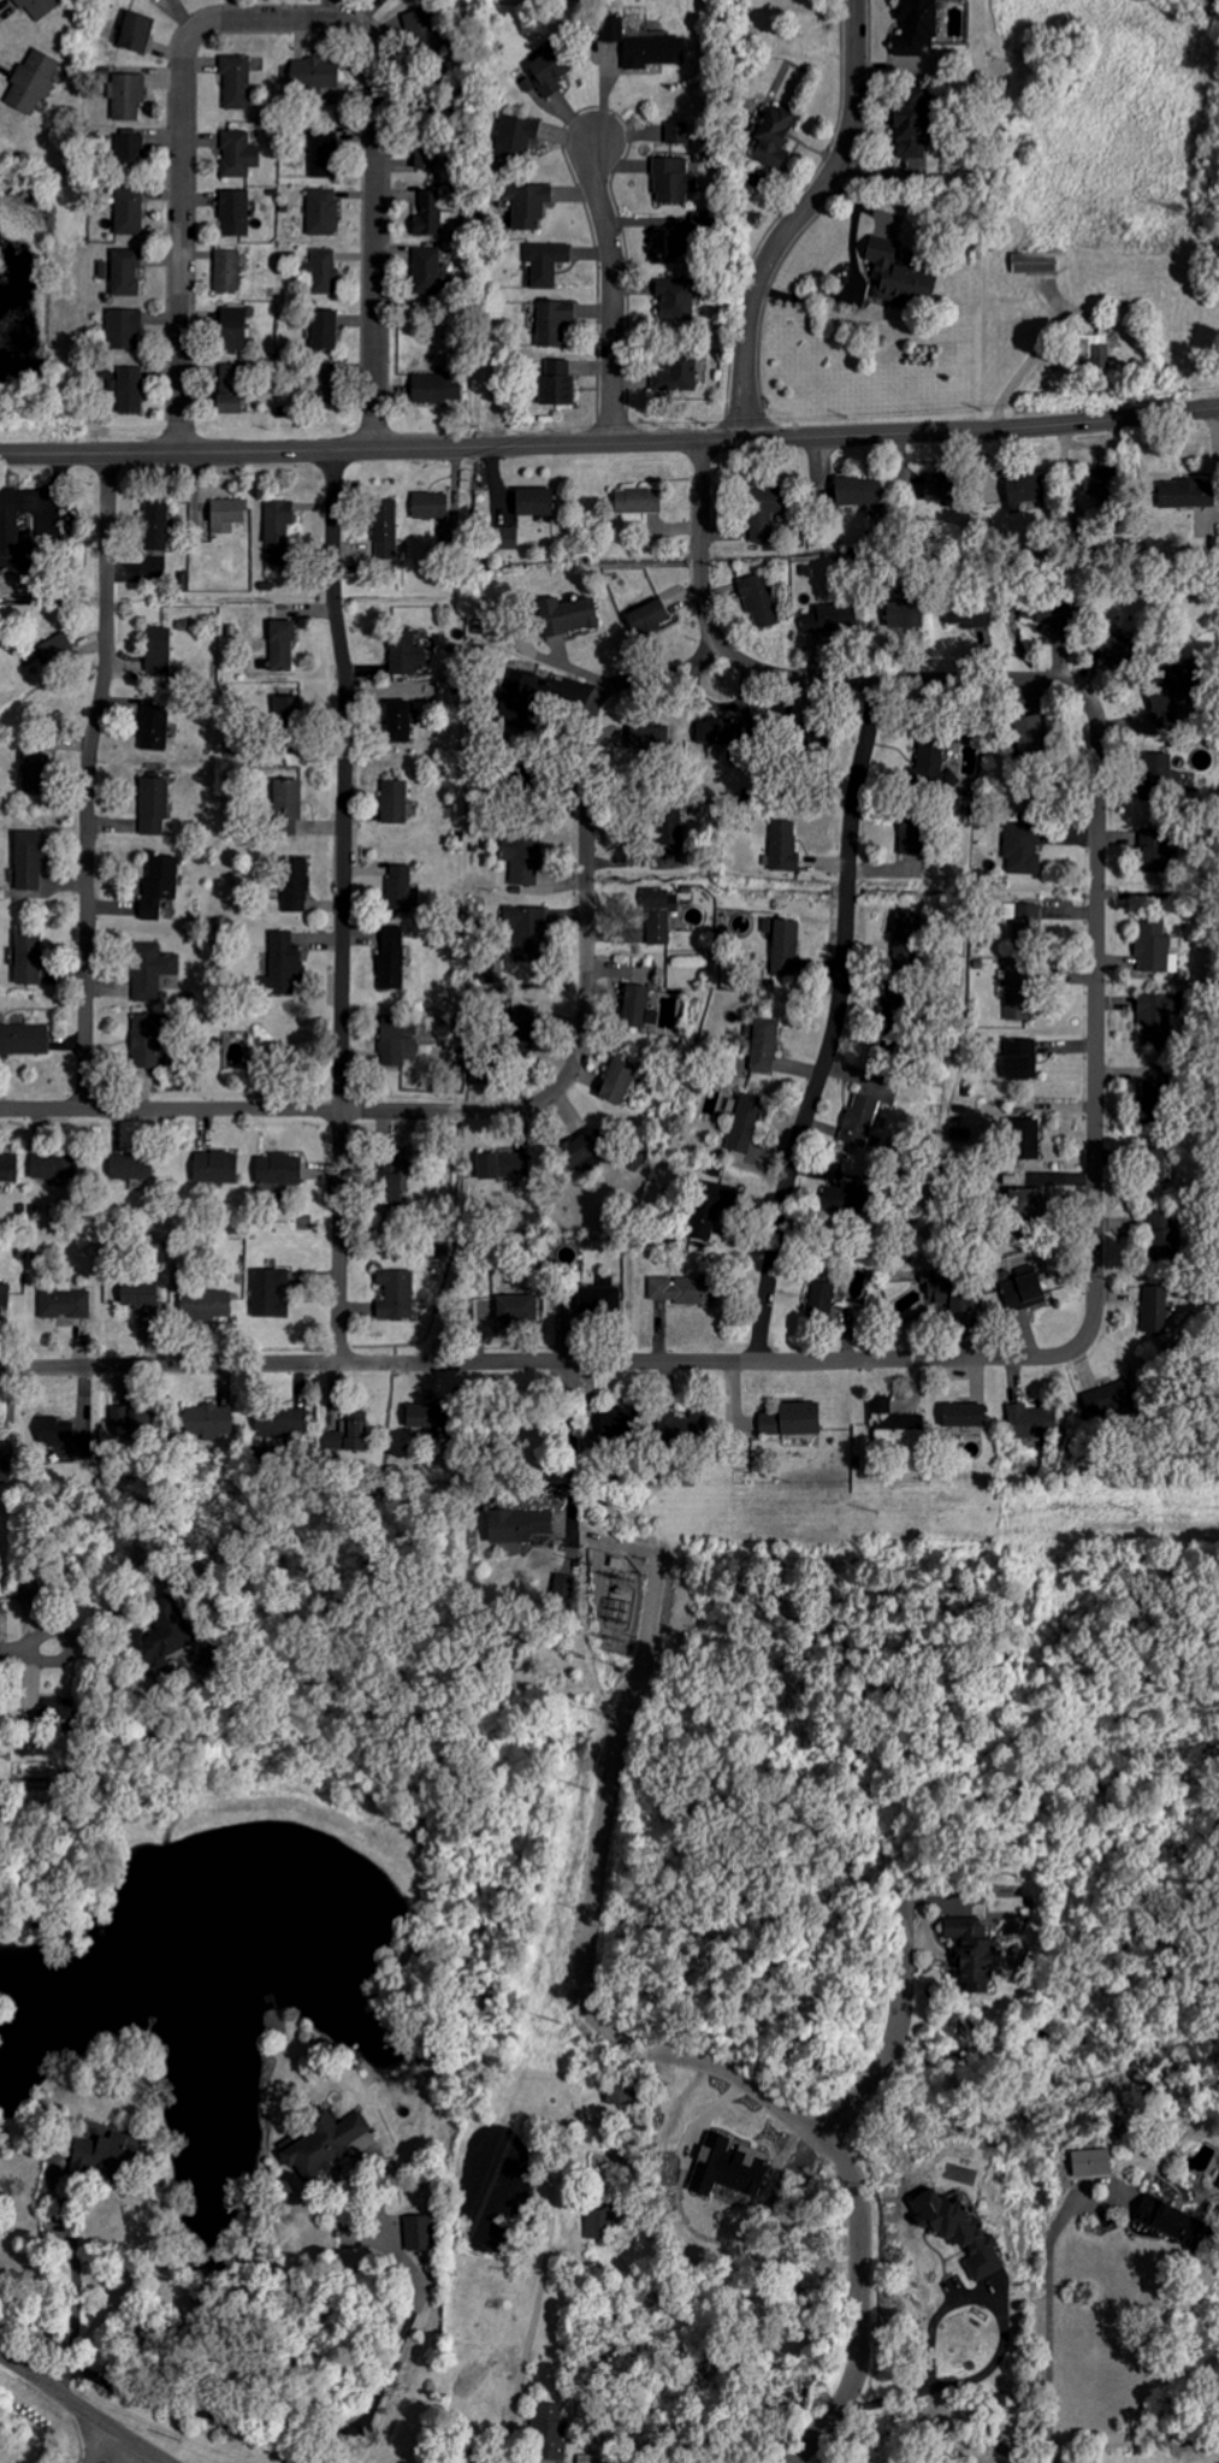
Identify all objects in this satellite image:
building: (39, 7)
building: (915, 26)
building: (614, 29)
building: (136, 31)
building: (651, 52)
building: (315, 72)
building: (548, 73)
building: (236, 82)
building: (32, 83)
building: (129, 95)
building: (909, 120)
building: (676, 132)
building: (773, 135)
building: (515, 136)
building: (129, 149)
building: (324, 153)
building: (238, 154)
building: (421, 158)
road: (835, 164)
building: (673, 179)
road: (374, 194)
road: (184, 199)
building: (527, 203)
building: (128, 211)
building: (322, 212)
building: (235, 213)
building: (431, 214)
building: (667, 244)
building: (545, 262)
building: (1036, 262)
building: (229, 270)
building: (322, 271)
building: (428, 271)
building: (125, 272)
building: (895, 272)
road: (611, 280)
building: (674, 299)
building: (554, 321)
building: (232, 326)
building: (124, 329)
building: (324, 330)
building: (1091, 350)
building: (679, 372)
road: (746, 374)
building: (557, 383)
building: (436, 388)
building: (128, 389)
building: (321, 389)
building: (230, 390)
road: (609, 443)
building: (934, 489)
building: (1023, 490)
building: (854, 491)
building: (1185, 494)
building: (532, 501)
building: (637, 501)
building: (431, 504)
building: (762, 510)
building: (226, 515)
building: (155, 525)
building: (8, 528)
building: (278, 530)
building: (385, 530)
building: (507, 537)
road: (703, 541)
building: (759, 599)
building: (1042, 613)
building: (567, 615)
building: (649, 616)
building: (966, 616)
building: (815, 630)
building: (280, 645)
building: (59, 646)
building: (158, 649)
building: (1117, 649)
building: (406, 654)
building: (519, 689)
building: (1162, 697)
building: (398, 721)
building: (153, 727)
building: (712, 732)
building: (1028, 736)
building: (651, 738)
building: (933, 764)
building: (37, 766)
building: (1158, 772)
road: (95, 781)
building: (393, 802)
building: (155, 807)
building: (286, 807)
building: (665, 827)
road: (1099, 833)
building: (909, 838)
building: (783, 845)
building: (1022, 849)
building: (523, 858)
building: (1150, 860)
building: (29, 861)
building: (160, 884)
building: (295, 885)
building: (398, 888)
road: (338, 903)
building: (659, 914)
building: (1023, 915)
building: (904, 923)
building: (528, 931)
building: (783, 945)
building: (1155, 946)
building: (28, 958)
building: (391, 958)
building: (280, 965)
building: (152, 970)
building: (1017, 993)
building: (638, 1005)
building: (523, 1016)
building: (1155, 1016)
building: (887, 1022)
road: (834, 1024)
building: (23, 1039)
building: (144, 1041)
building: (396, 1044)
building: (765, 1045)
building: (237, 1050)
building: (1020, 1059)
building: (619, 1080)
building: (1149, 1089)
road: (548, 1099)
building: (860, 1120)
building: (745, 1123)
building: (1025, 1139)
building: (579, 1150)
building: (505, 1165)
building: (214, 1166)
building: (8, 1168)
building: (52, 1168)
building: (130, 1168)
building: (1154, 1169)
building: (279, 1170)
building: (390, 1175)
building: (711, 1207)
building: (1158, 1221)
building: (1161, 1245)
building: (685, 1292)
building: (270, 1293)
building: (1023, 1293)
building: (140, 1294)
building: (396, 1294)
building: (4, 1295)
building: (597, 1299)
building: (821, 1300)
building: (65, 1303)
building: (960, 1304)
building: (208, 1305)
building: (517, 1309)
building: (1153, 1312)
road: (537, 1360)
building: (1105, 1396)
building: (963, 1414)
building: (283, 1419)
building: (418, 1419)
building: (212, 1420)
building: (791, 1420)
building: (1030, 1422)
building: (615, 1424)
building: (895, 1424)
building: (351, 1429)
building: (677, 1429)
building: (58, 1434)
road: (574, 1446)
building: (515, 1523)
building: (562, 1584)
building: (159, 1635)
road: (26, 1646)
building: (972, 1954)
road: (897, 2020)
building: (324, 2143)
building: (102, 2154)
building: (728, 2164)
road: (857, 2195)
building: (599, 2215)
building: (1173, 2222)
building: (959, 2229)
building: (416, 2232)
road: (542, 2254)
road: (72, 2278)
road: (1052, 2300)
road: (998, 2339)
road: (79, 2410)
road: (338, 2428)
building: (549, 2433)
road: (94, 2445)
road: (120, 2452)

